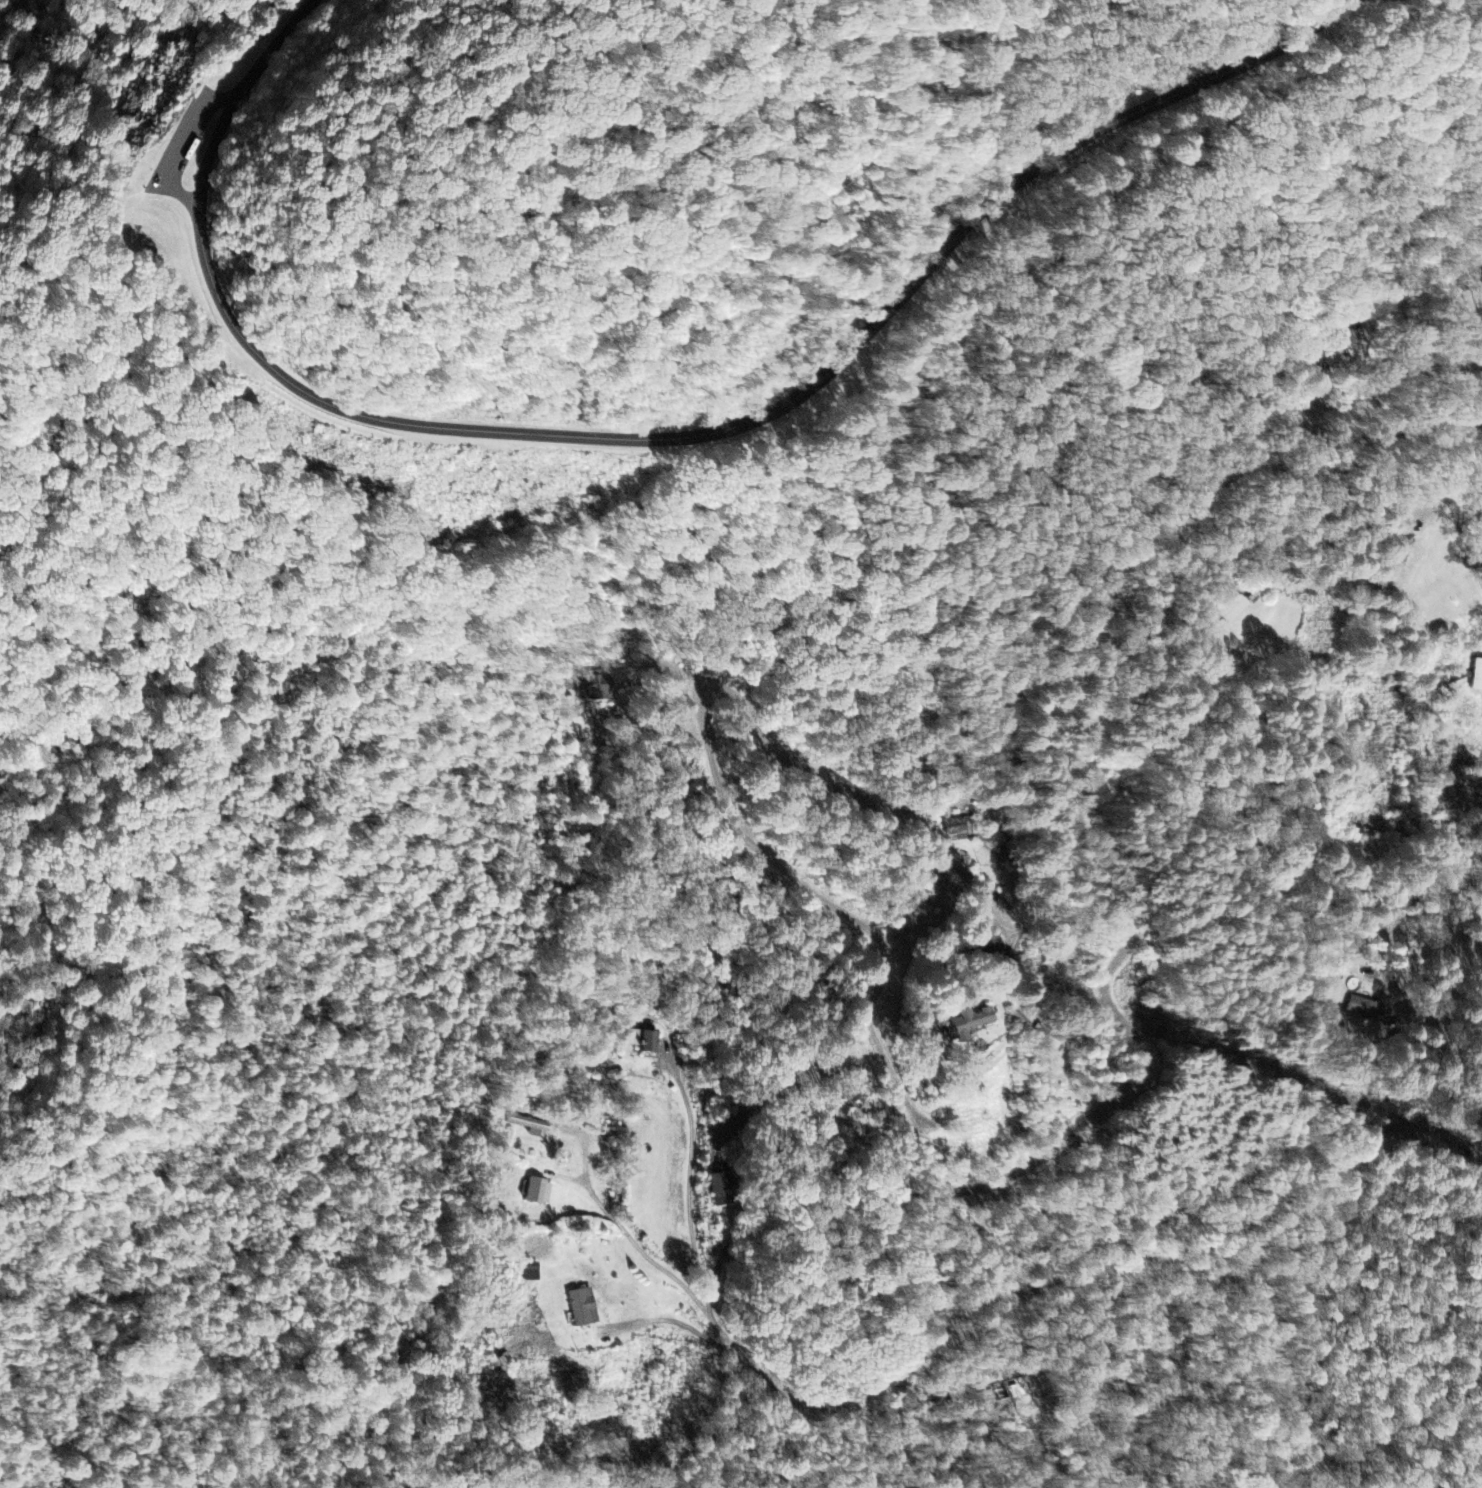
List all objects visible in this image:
road: (225, 99)
parking lot: (188, 142)
road: (186, 143)
road: (1399, 326)
road: (1399, 427)
road: (668, 437)
building: (1477, 676)
building: (593, 688)
road: (894, 816)
building: (962, 1026)
building: (644, 1043)
building: (536, 1193)
road: (1100, 1220)
building: (531, 1272)
building: (582, 1308)

